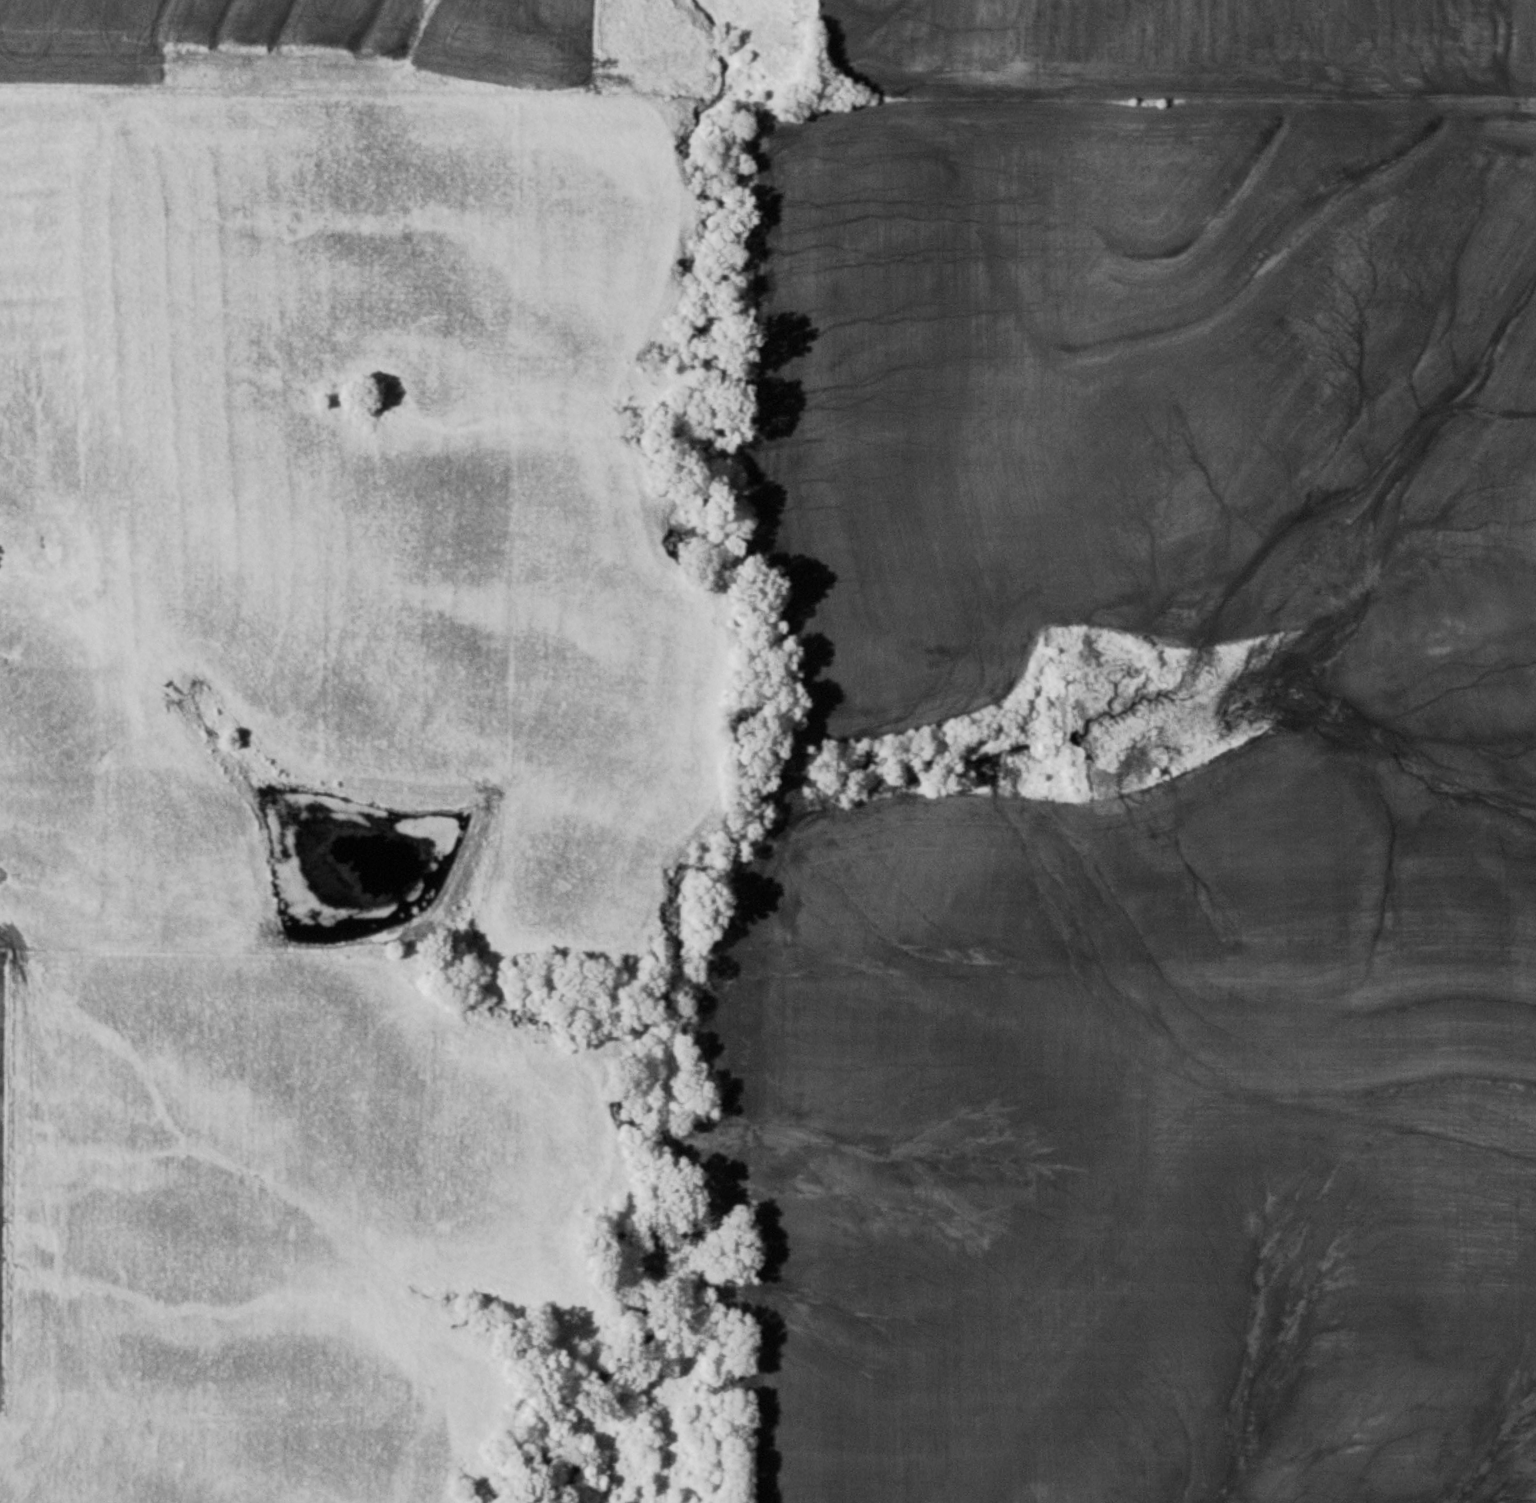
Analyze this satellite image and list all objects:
crop: (1182, 48)
crop: (1072, 353)
crop: (1183, 1089)

